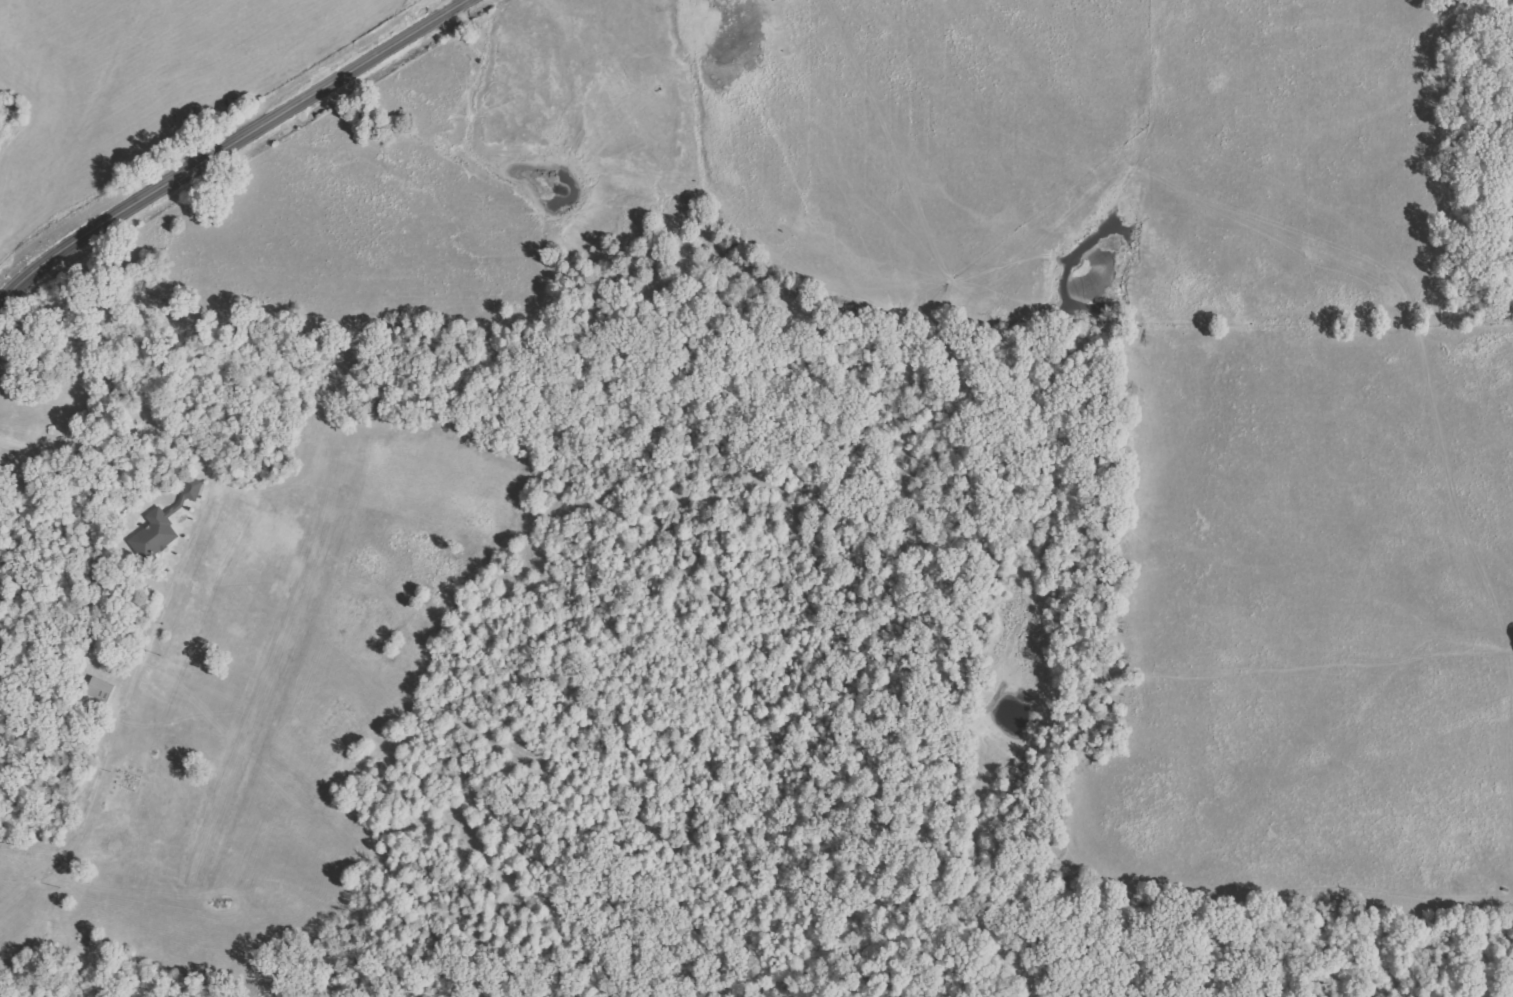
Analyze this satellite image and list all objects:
road: (227, 146)
road: (209, 478)
building: (192, 489)
building: (161, 527)

